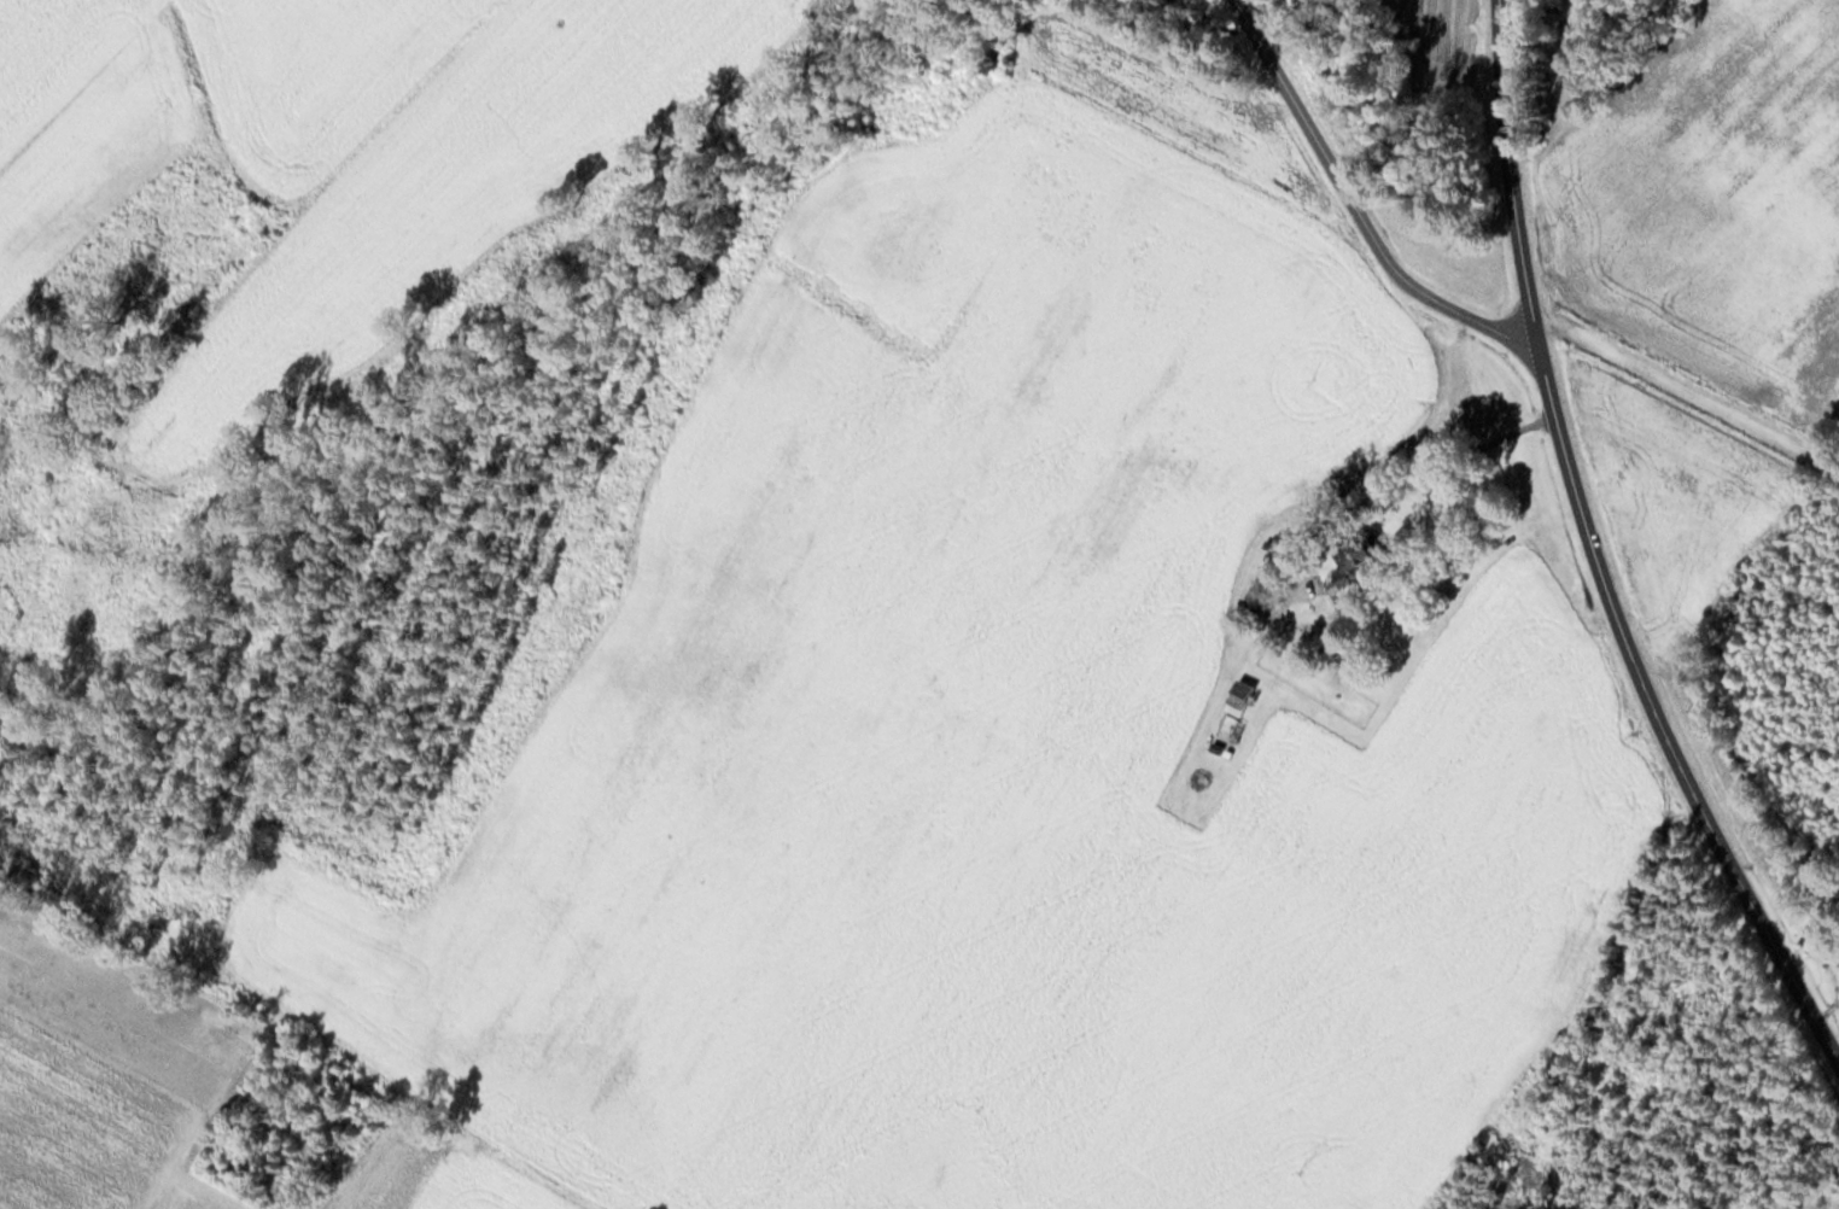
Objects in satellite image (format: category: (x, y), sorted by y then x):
road: (1350, 204)
road: (1685, 390)
road: (1599, 553)
building: (1265, 601)
building: (1242, 711)
road: (1817, 1187)

